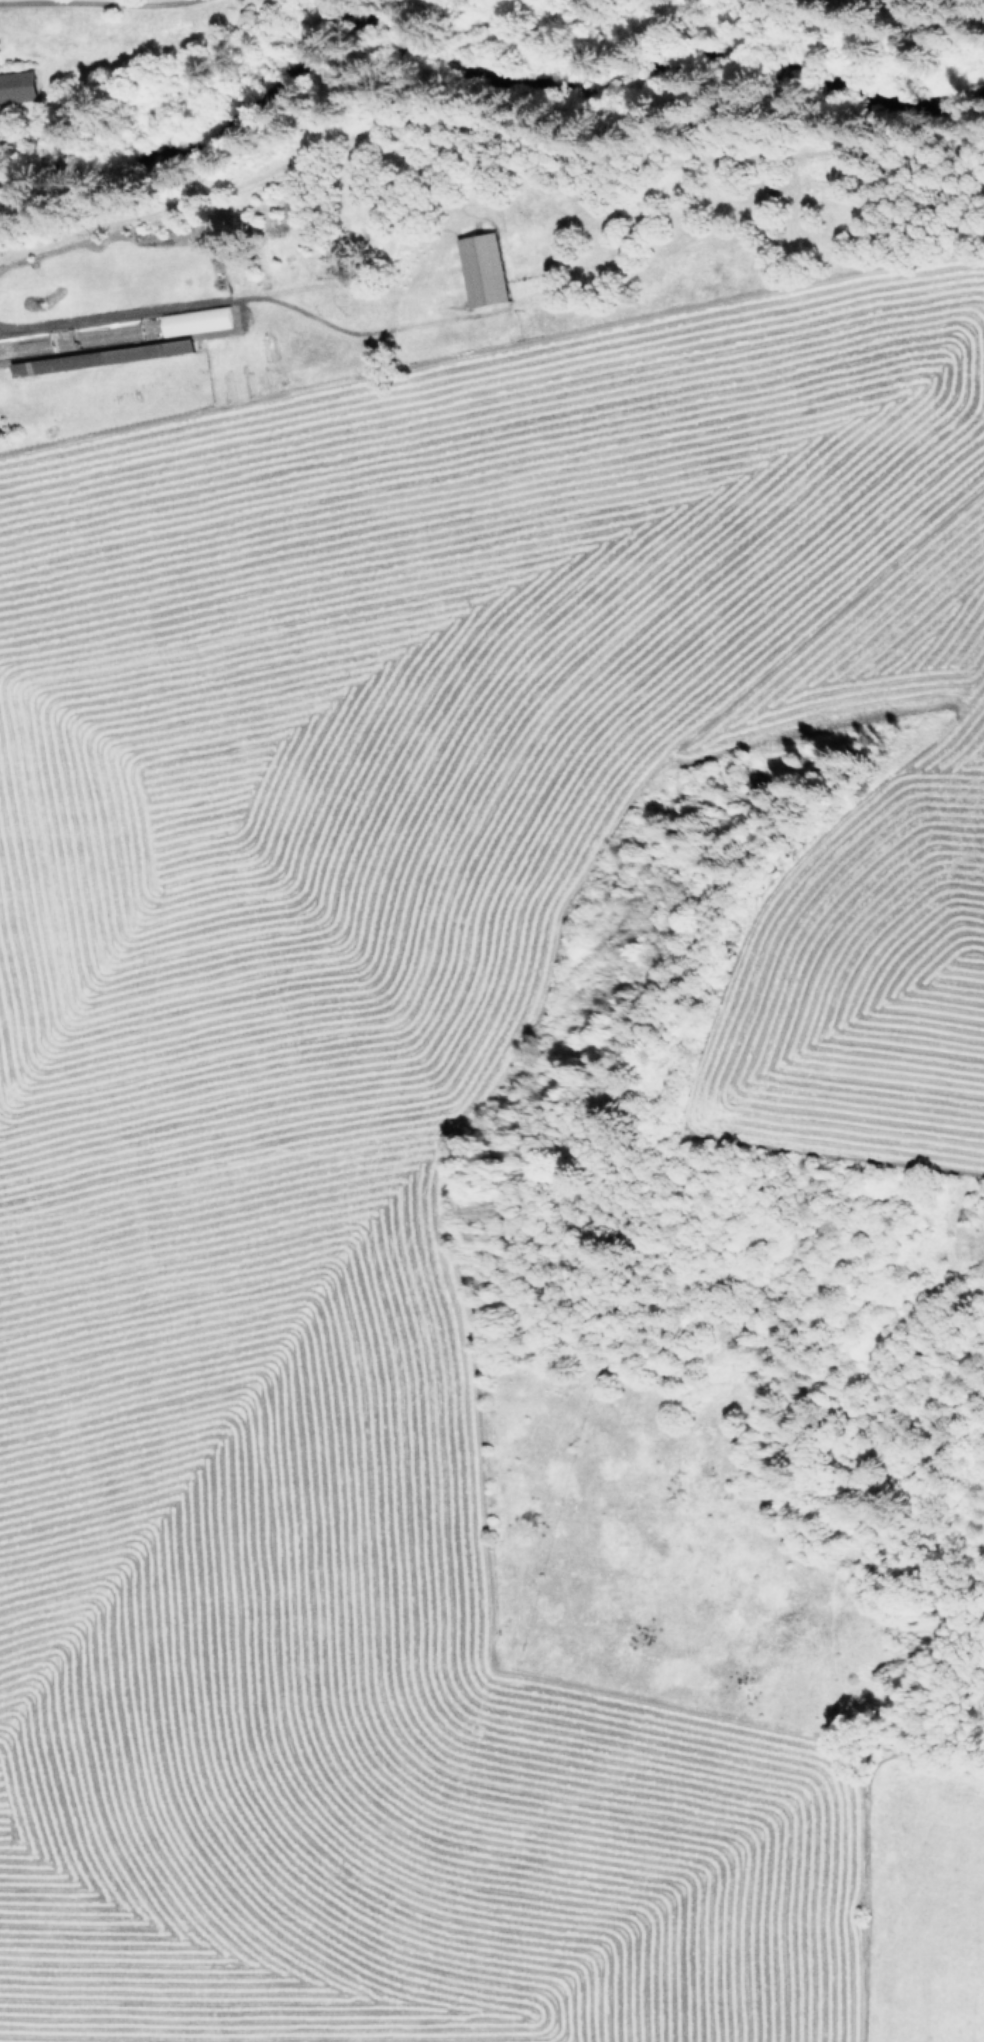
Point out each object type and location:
crop: (50, 8)
building: (484, 269)
building: (196, 320)
crop: (442, 1123)

